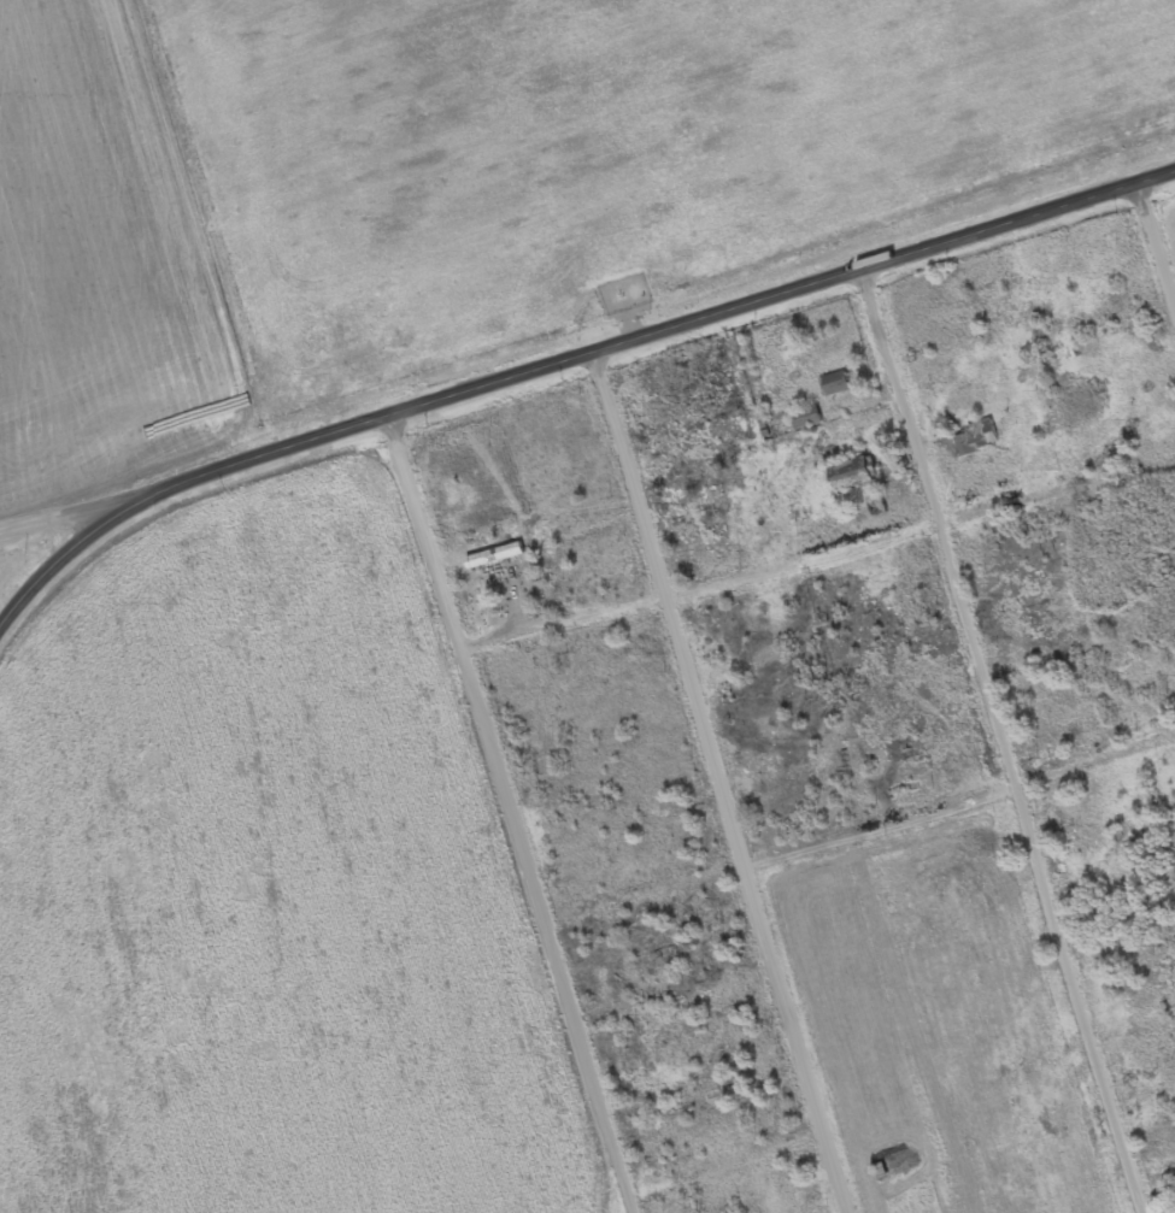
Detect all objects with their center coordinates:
road: (1158, 241)
road: (654, 338)
building: (835, 385)
building: (806, 420)
building: (977, 440)
building: (851, 476)
road: (67, 524)
road: (63, 564)
road: (818, 564)
building: (1044, 614)
road: (1006, 743)
road: (724, 785)
road: (509, 817)
road: (859, 835)
road: (1134, 1030)
road: (724, 1154)

